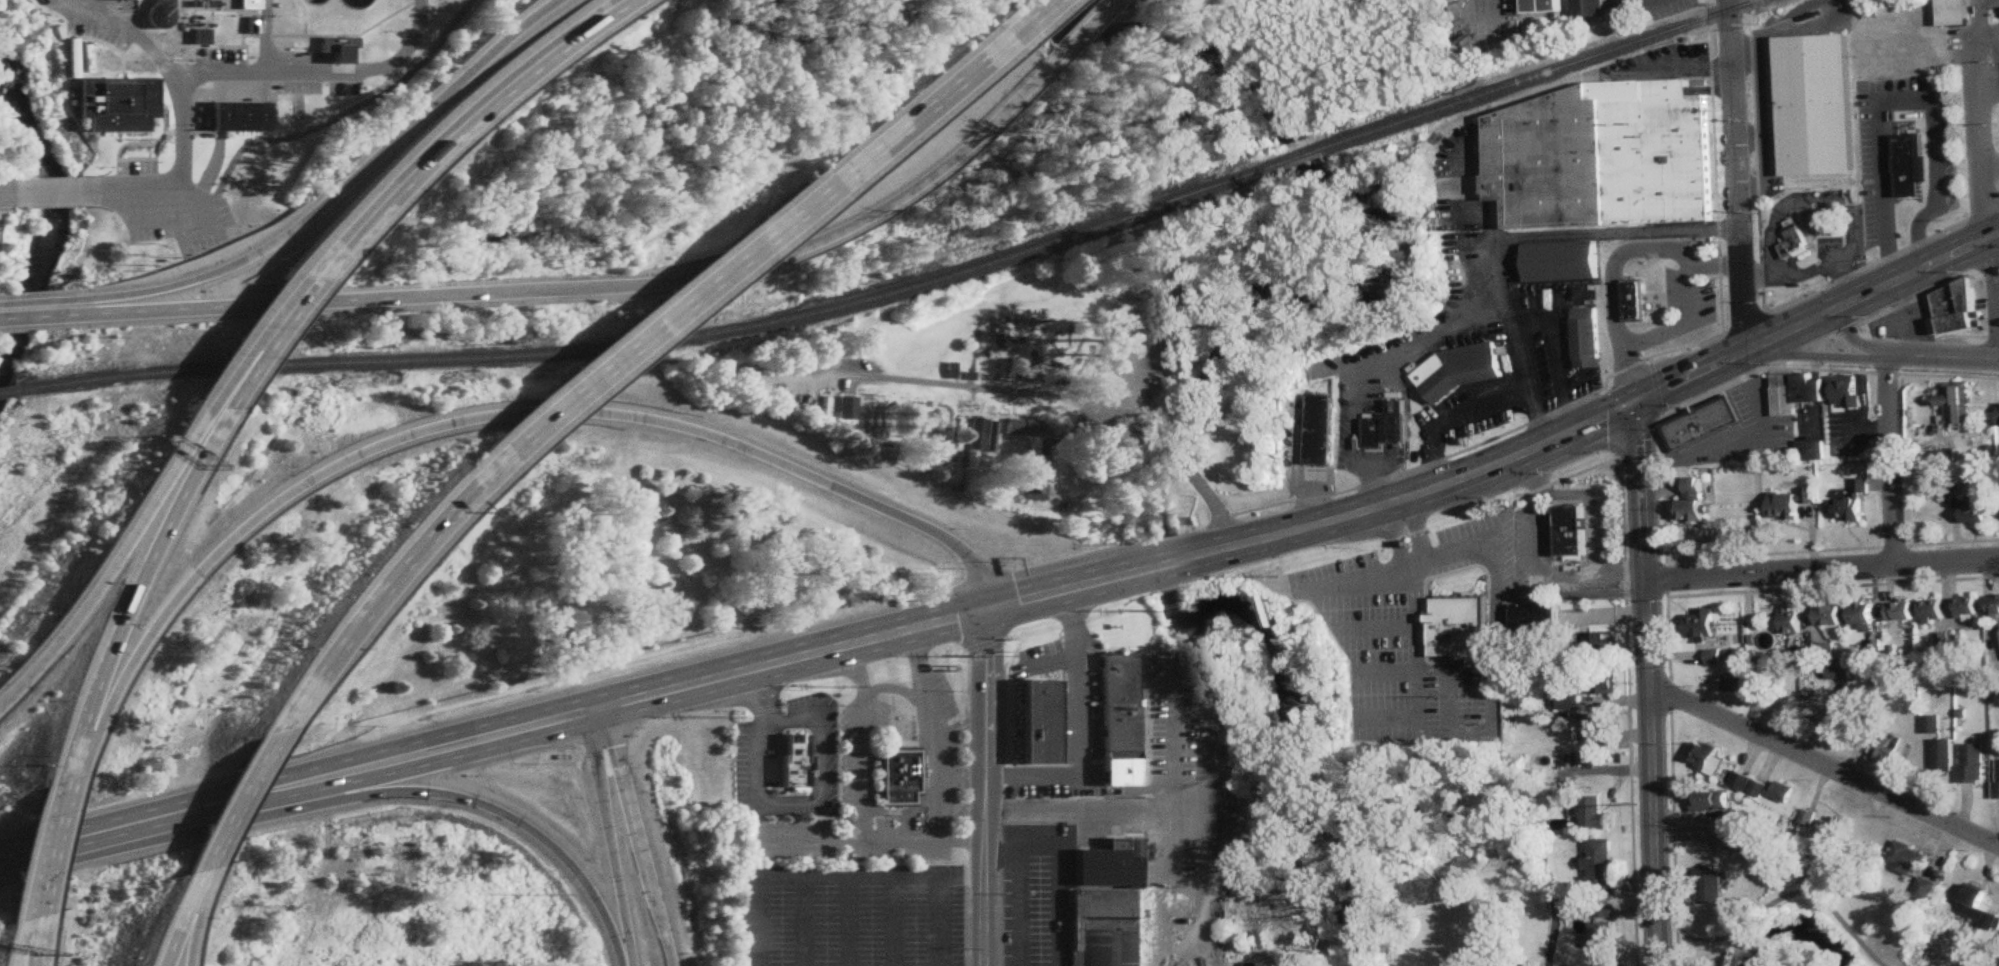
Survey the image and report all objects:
road: (1110, 1)
road: (1642, 1)
building: (242, 5)
building: (1545, 6)
building: (1590, 8)
road: (1473, 10)
road: (1032, 11)
building: (1952, 13)
building: (151, 17)
road: (1979, 18)
road: (1072, 26)
road: (1987, 34)
building: (194, 38)
wastewater plant: (223, 56)
road: (1033, 66)
road: (161, 69)
road: (314, 72)
railway: (1541, 75)
road: (489, 97)
road: (921, 102)
road: (1906, 102)
building: (1814, 105)
building: (110, 106)
road: (339, 111)
building: (234, 119)
building: (1602, 156)
railway: (1298, 158)
building: (1907, 164)
parking lot: (1876, 165)
road: (1739, 176)
road: (1985, 188)
road: (51, 193)
road: (12, 194)
road: (323, 199)
river: (1373, 203)
road: (1810, 204)
river: (52, 205)
road: (204, 207)
parking lot: (160, 208)
road: (836, 225)
road: (339, 244)
building: (1793, 244)
road: (1616, 261)
building: (1562, 262)
road: (1807, 273)
road: (1758, 277)
railway: (931, 281)
road: (1849, 284)
road: (1928, 291)
road: (1874, 293)
road: (1998, 298)
road: (24, 301)
parking lot: (1979, 301)
road: (329, 302)
building: (1634, 302)
building: (1953, 307)
road: (660, 314)
road: (24, 316)
parking lot: (1904, 323)
road: (1682, 325)
road: (1847, 330)
road: (1966, 336)
building: (1587, 338)
road: (1904, 338)
road: (1853, 340)
road: (260, 342)
road: (1822, 342)
road: (1429, 344)
road: (234, 353)
road: (1817, 353)
road: (1793, 355)
road: (1559, 356)
road: (1942, 357)
railway: (291, 368)
building: (1460, 371)
road: (1103, 374)
road: (1613, 375)
road: (1695, 376)
road: (1655, 386)
road: (973, 387)
road: (1717, 389)
building: (1816, 391)
building: (1845, 391)
building: (1789, 393)
road: (1816, 393)
railway: (3, 394)
traffic signals: (1641, 401)
building: (1954, 402)
building: (845, 409)
road: (490, 417)
road: (1454, 421)
parking lot: (1802, 423)
building: (1700, 424)
building: (1019, 427)
building: (1388, 427)
parking lot: (1755, 427)
road: (1869, 427)
building: (1320, 429)
road: (1636, 437)
road: (1558, 439)
parking lot: (1843, 440)
building: (1813, 450)
river: (1168, 457)
road: (1889, 461)
building: (1028, 474)
road: (1537, 476)
road: (1568, 477)
road: (1646, 491)
building: (1691, 500)
road: (138, 501)
building: (1790, 503)
building: (1851, 503)
road: (1317, 505)
river: (1147, 511)
building: (1975, 511)
road: (1328, 524)
road: (1416, 528)
building: (1571, 532)
road: (1393, 536)
road: (1165, 565)
road: (1825, 572)
river: (1163, 574)
road: (1597, 576)
road: (1358, 583)
road: (376, 584)
road: (124, 589)
road: (1067, 589)
building: (1994, 605)
building: (1967, 606)
traffic signals: (985, 609)
building: (1900, 612)
building: (1932, 612)
building: (1861, 614)
road: (1100, 616)
building: (1828, 616)
building: (1790, 619)
road: (1070, 622)
building: (1700, 624)
road: (1375, 628)
building: (1459, 628)
parking lot: (1419, 633)
road: (868, 637)
road: (1012, 637)
road: (983, 644)
building: (1599, 645)
road: (43, 647)
parking lot: (1036, 651)
building: (1712, 657)
road: (1049, 661)
building: (1836, 670)
road: (1387, 673)
road: (1004, 679)
building: (1734, 683)
building: (1599, 685)
road: (1449, 686)
road: (671, 687)
road: (892, 688)
building: (1564, 701)
building: (1115, 703)
road: (985, 708)
road: (1493, 714)
road: (1388, 718)
building: (1848, 720)
building: (1036, 721)
road: (1077, 729)
road: (932, 732)
building: (1595, 732)
parking lot: (897, 735)
road: (860, 741)
road: (437, 747)
river: (1287, 748)
building: (1885, 749)
building: (1943, 756)
building: (789, 757)
parking lot: (828, 757)
building: (1705, 759)
building: (1974, 763)
road: (1825, 765)
parking lot: (739, 766)
road: (1653, 774)
building: (896, 776)
building: (1998, 779)
road: (920, 782)
building: (1748, 785)
building: (1783, 793)
road: (810, 797)
road: (231, 799)
building: (1710, 802)
road: (783, 806)
road: (489, 810)
road: (1140, 810)
building: (1594, 814)
building: (1743, 819)
road: (141, 822)
river: (1487, 824)
building: (1830, 832)
road: (635, 835)
road: (608, 837)
road: (868, 840)
road: (985, 842)
road: (37, 844)
building: (1748, 844)
building: (1907, 859)
building: (1600, 869)
road: (805, 877)
road: (963, 877)
building: (1709, 887)
building: (1925, 890)
road: (1800, 891)
road: (1023, 895)
parking lot: (1038, 895)
building: (1103, 905)
building: (1977, 908)
parking lot: (850, 915)
road: (175, 916)
road: (187, 921)
road: (941, 921)
road: (985, 922)
building: (1603, 926)
river: (1801, 929)
park: (1784, 930)
road: (23, 938)
road: (1708, 939)
road: (17, 946)
road: (1678, 947)
building: (1256, 965)

